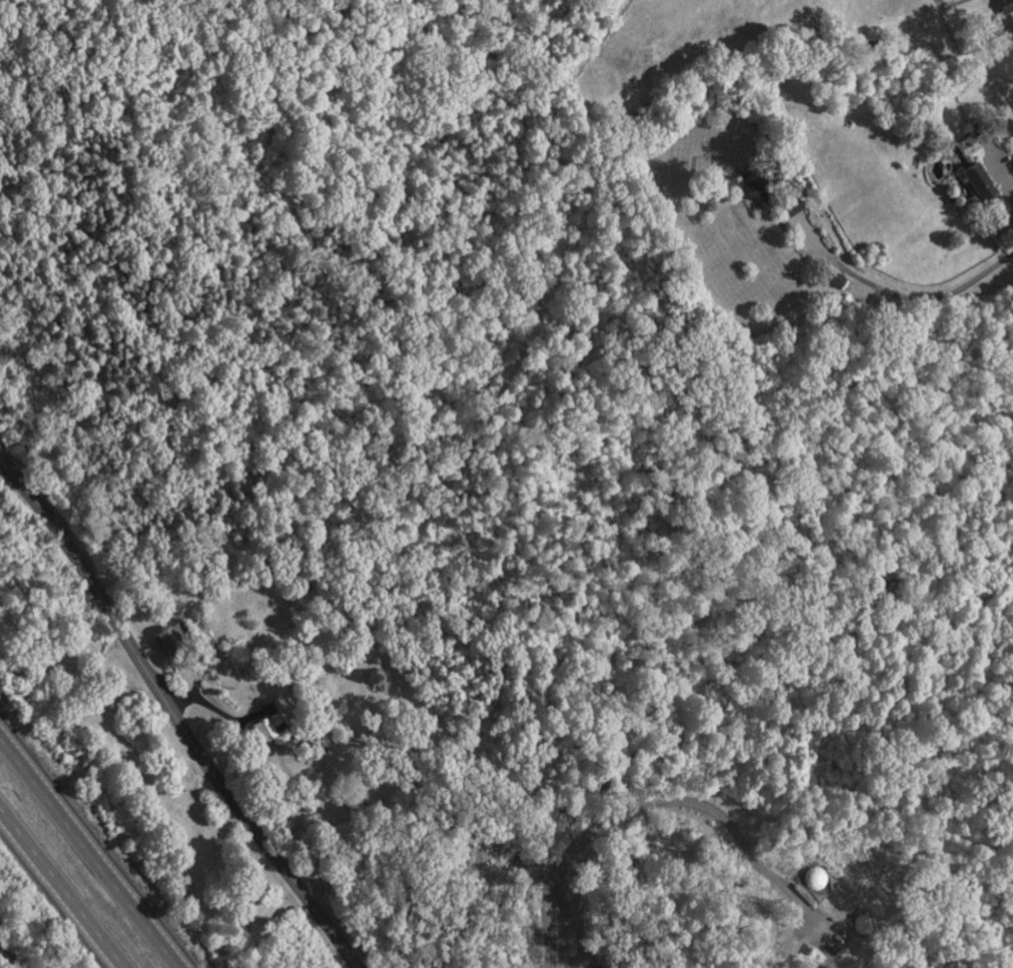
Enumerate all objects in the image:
building: (1006, 6)
building: (970, 148)
building: (982, 182)
building: (758, 187)
building: (794, 207)
building: (840, 281)
road: (925, 301)
building: (177, 639)
road: (174, 717)
building: (270, 723)
road: (628, 800)
road: (89, 853)
road: (62, 887)

